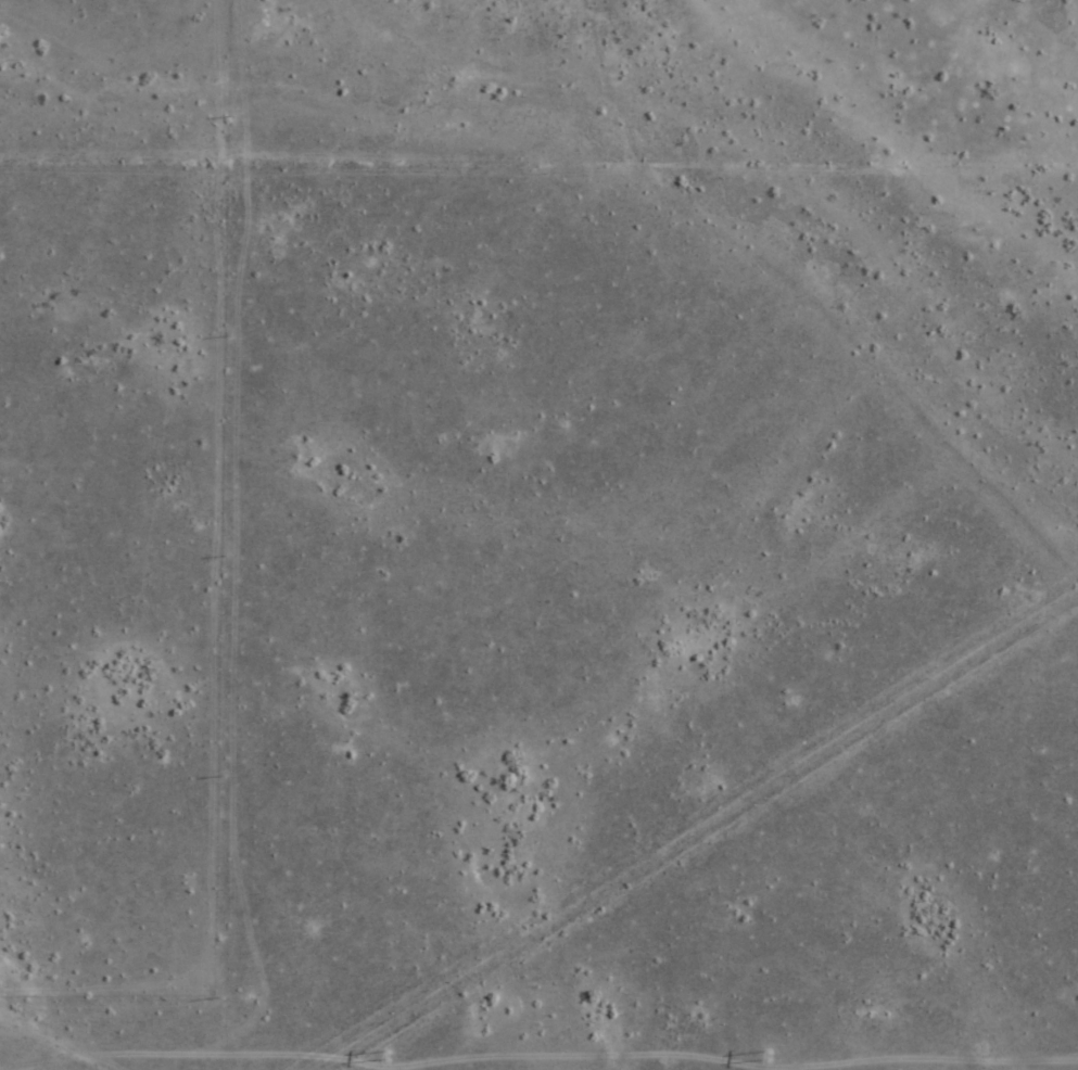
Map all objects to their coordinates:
power tower: (386, 1054)
power tower: (769, 1056)

